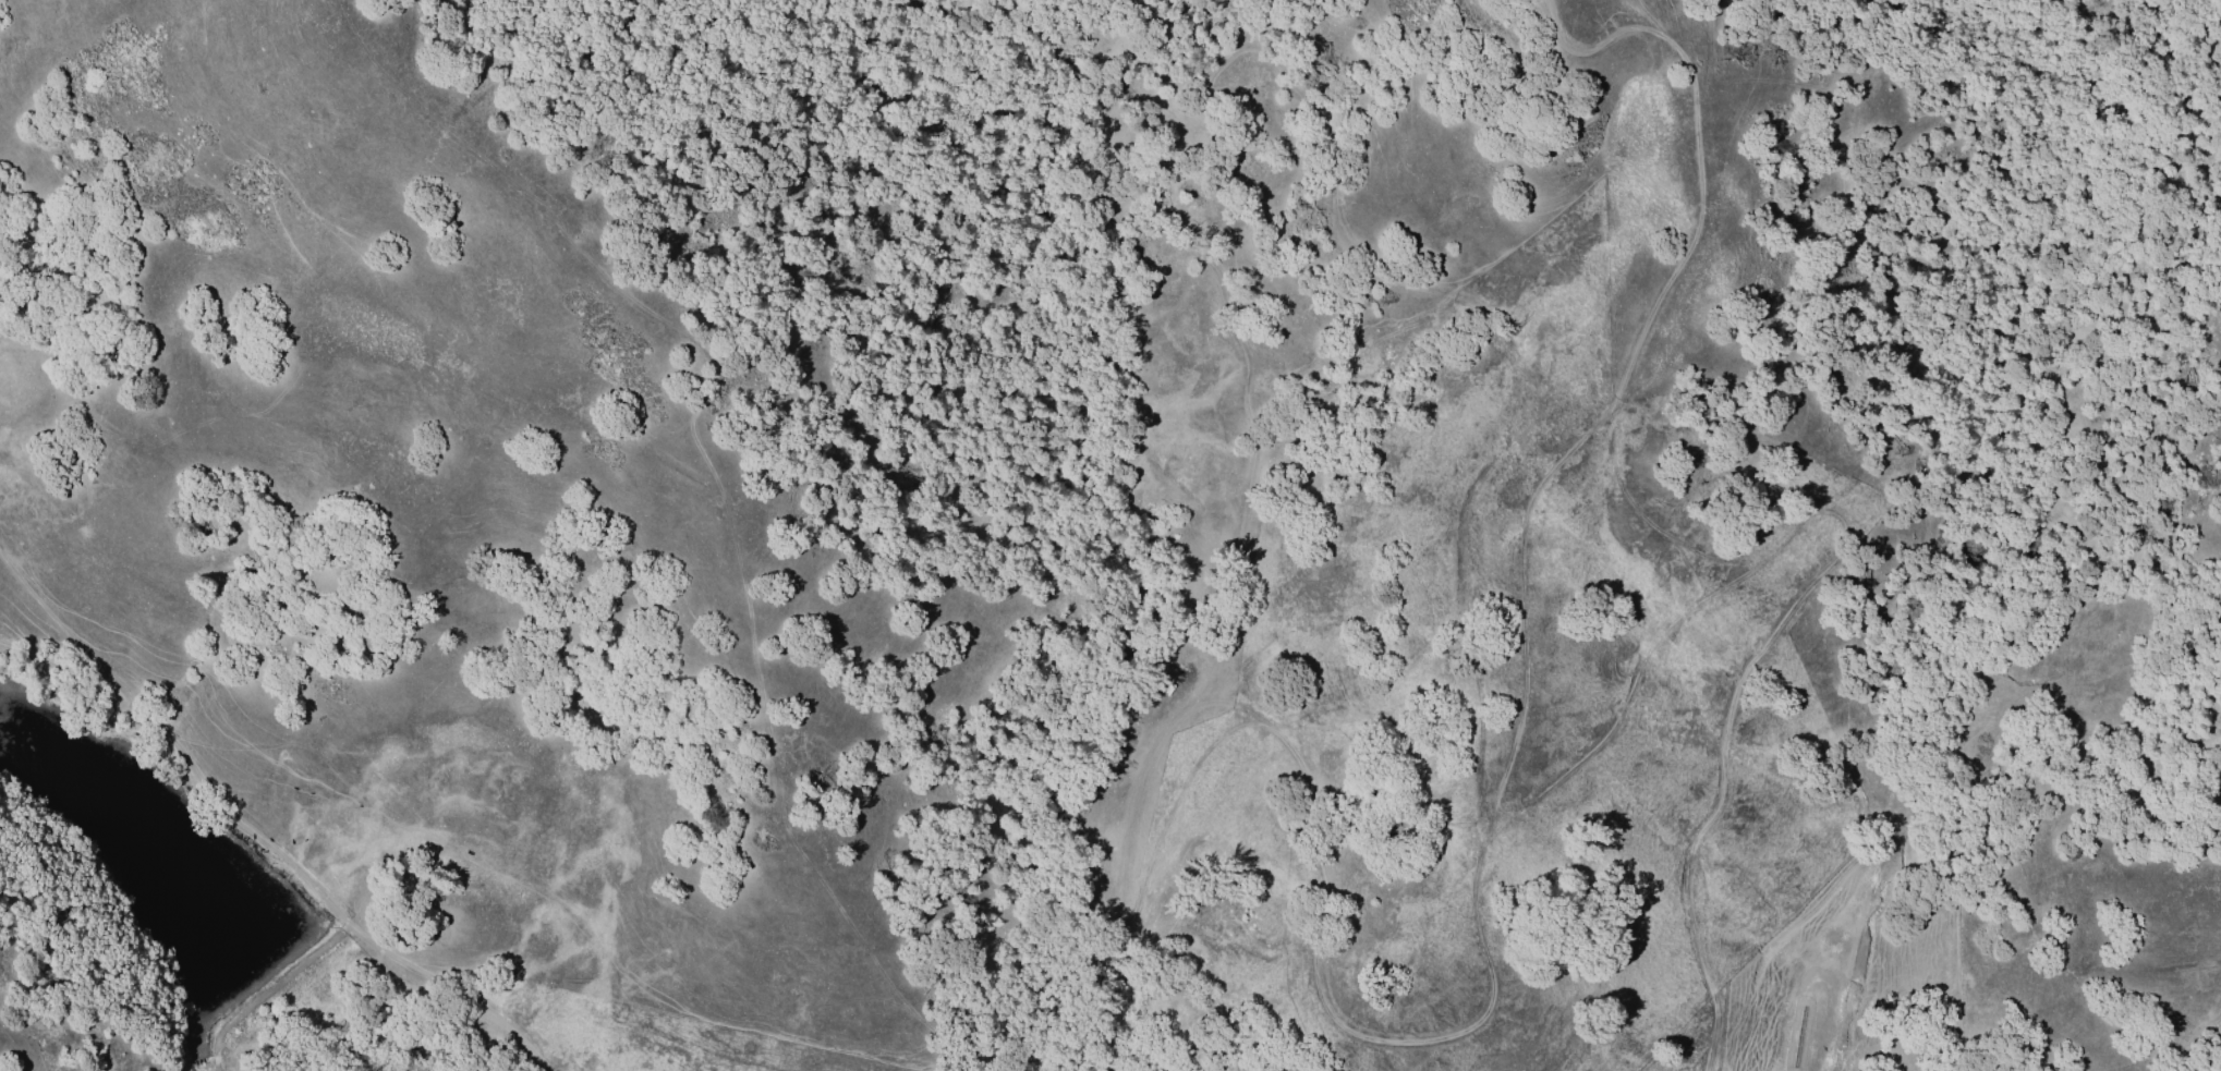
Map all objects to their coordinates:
crop: (1865, 952)

